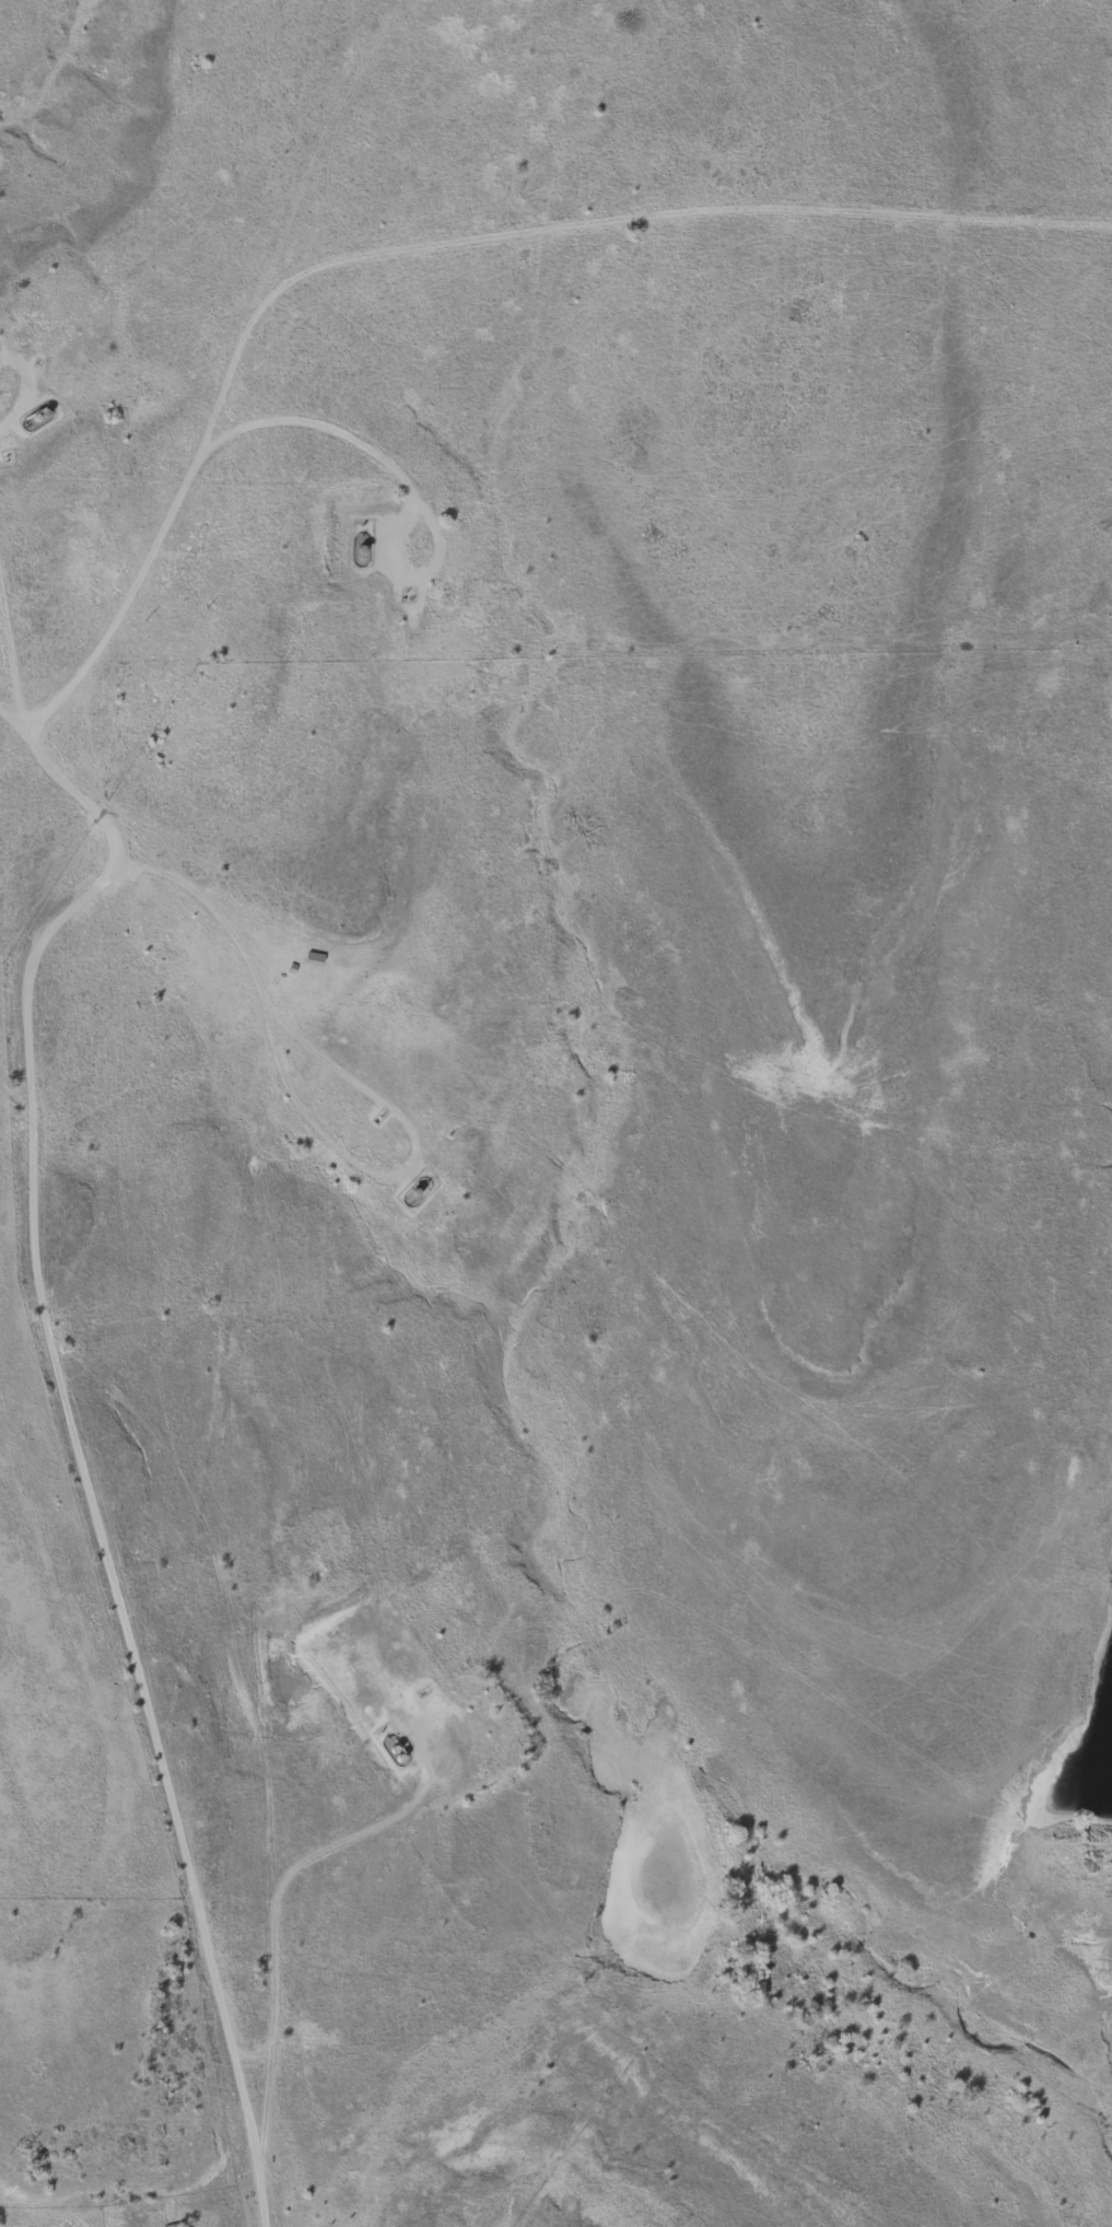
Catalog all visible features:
road: (712, 214)
road: (316, 421)
road: (8, 672)
road: (13, 722)
road: (24, 1029)
road: (270, 1934)
road: (251, 2059)

